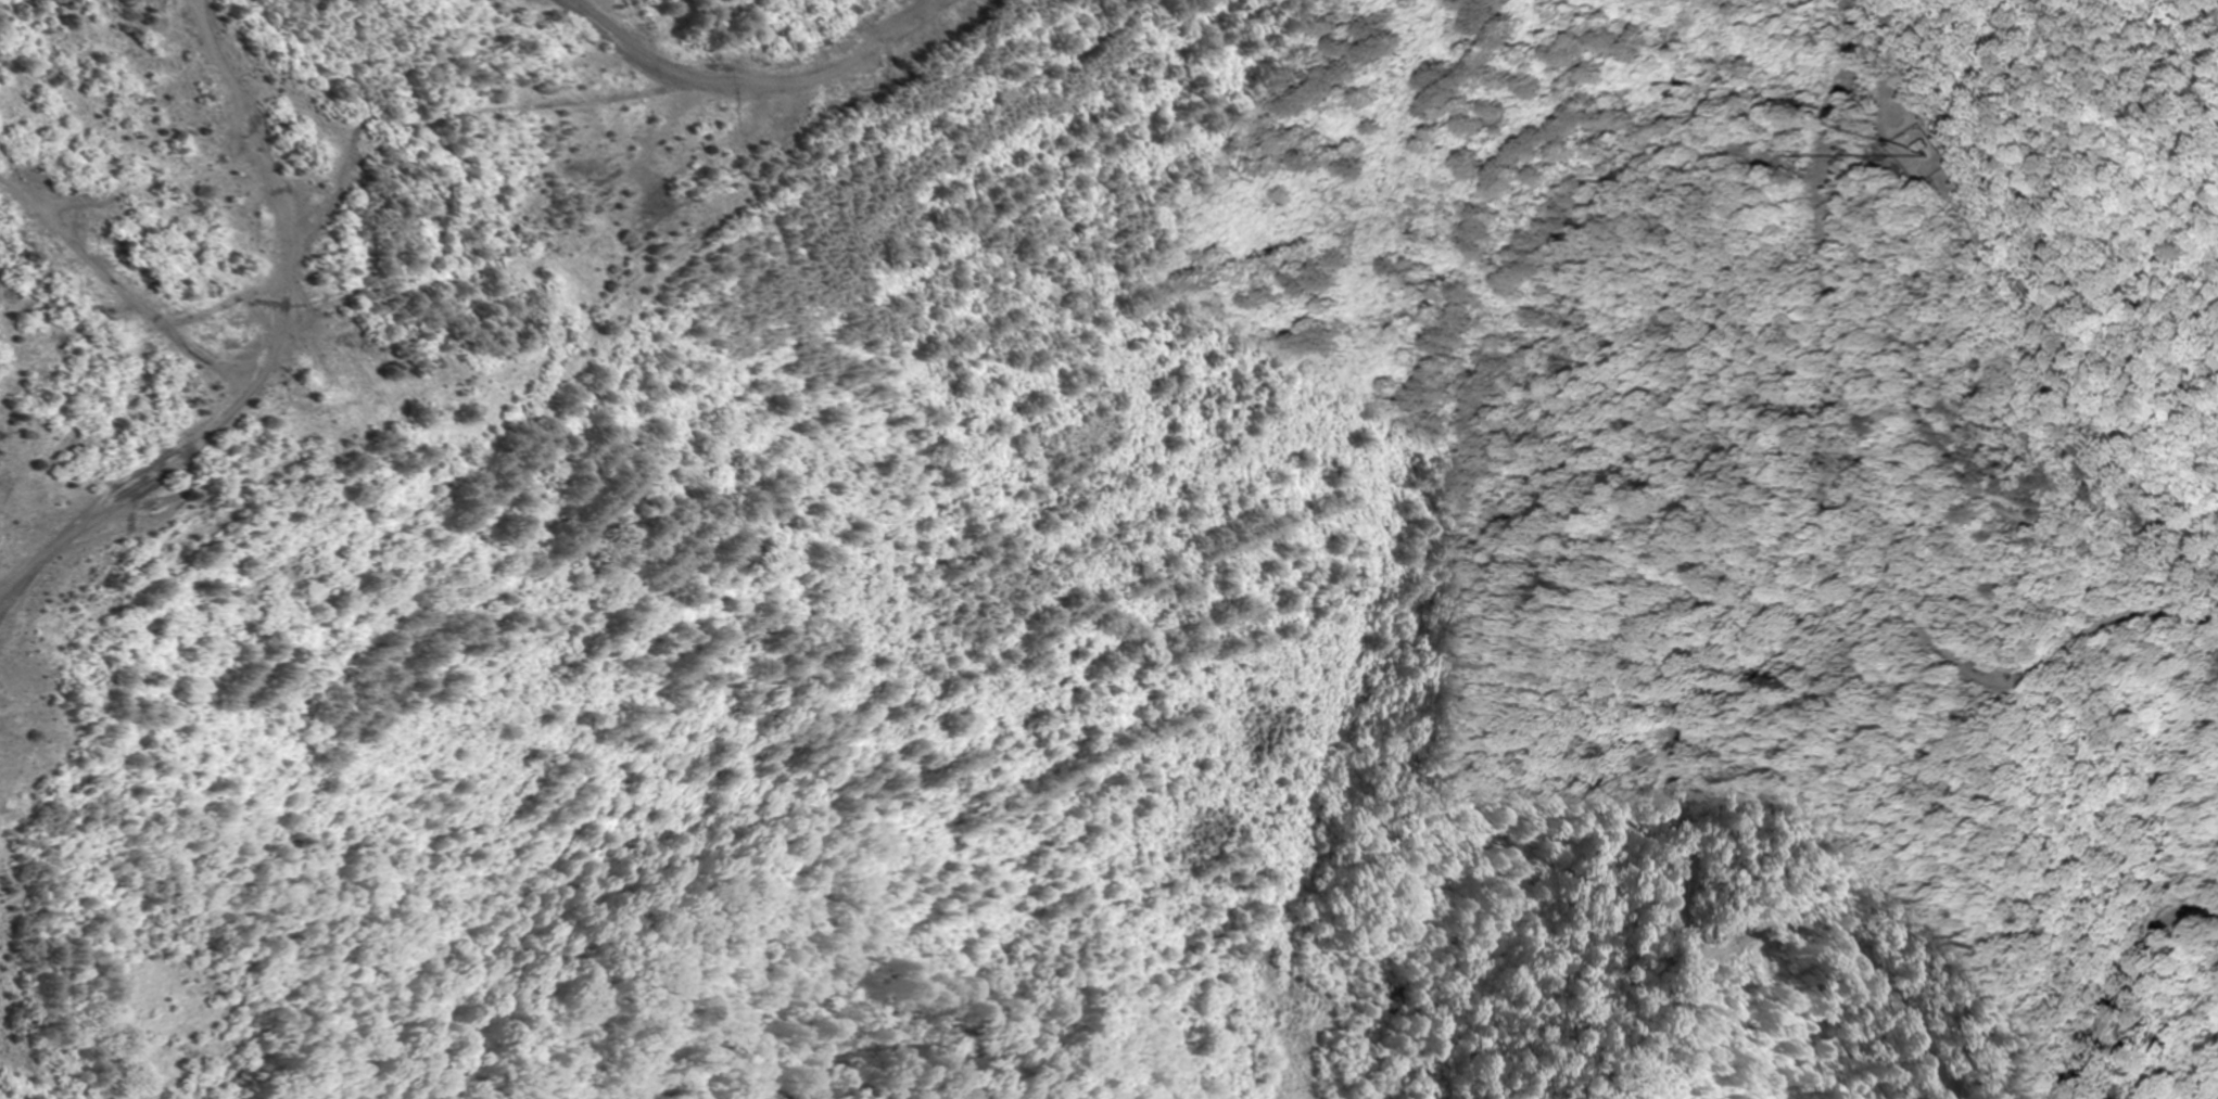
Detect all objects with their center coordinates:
road: (2203, 22)

